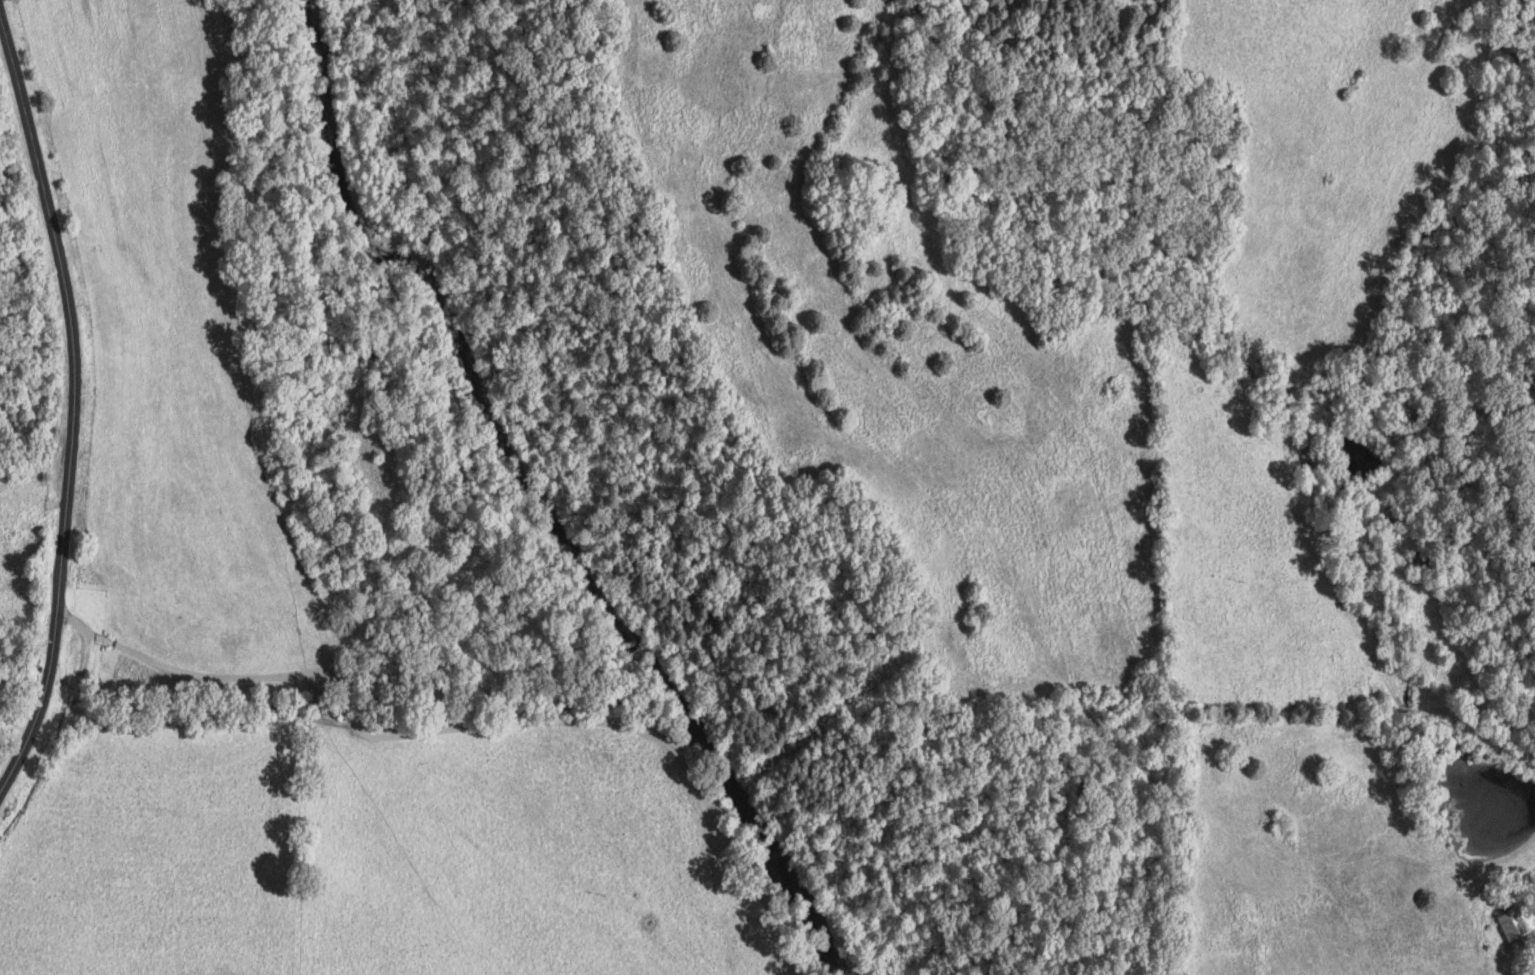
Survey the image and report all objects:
road: (69, 408)
building: (1305, 457)
building: (1389, 519)
road: (1473, 713)
road: (441, 738)
road: (1527, 926)
building: (1513, 931)

